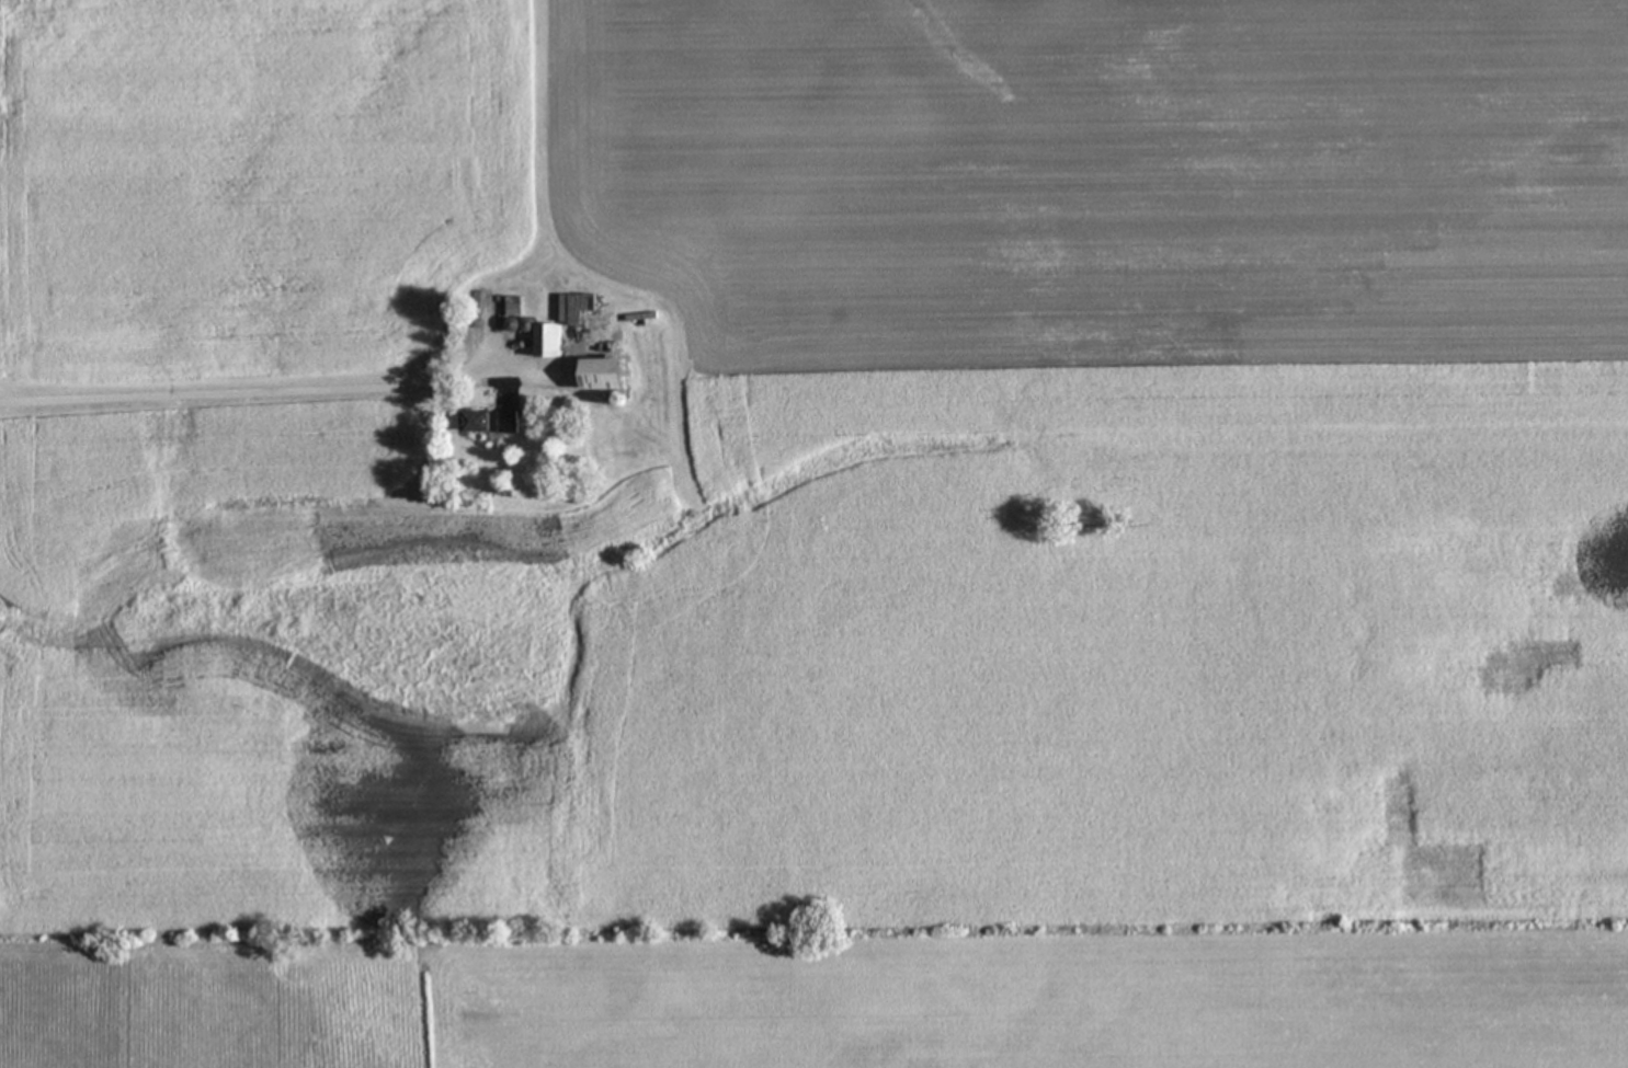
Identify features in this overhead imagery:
building: (554, 343)
building: (610, 377)
road: (266, 393)
building: (257, 395)
building: (497, 424)

